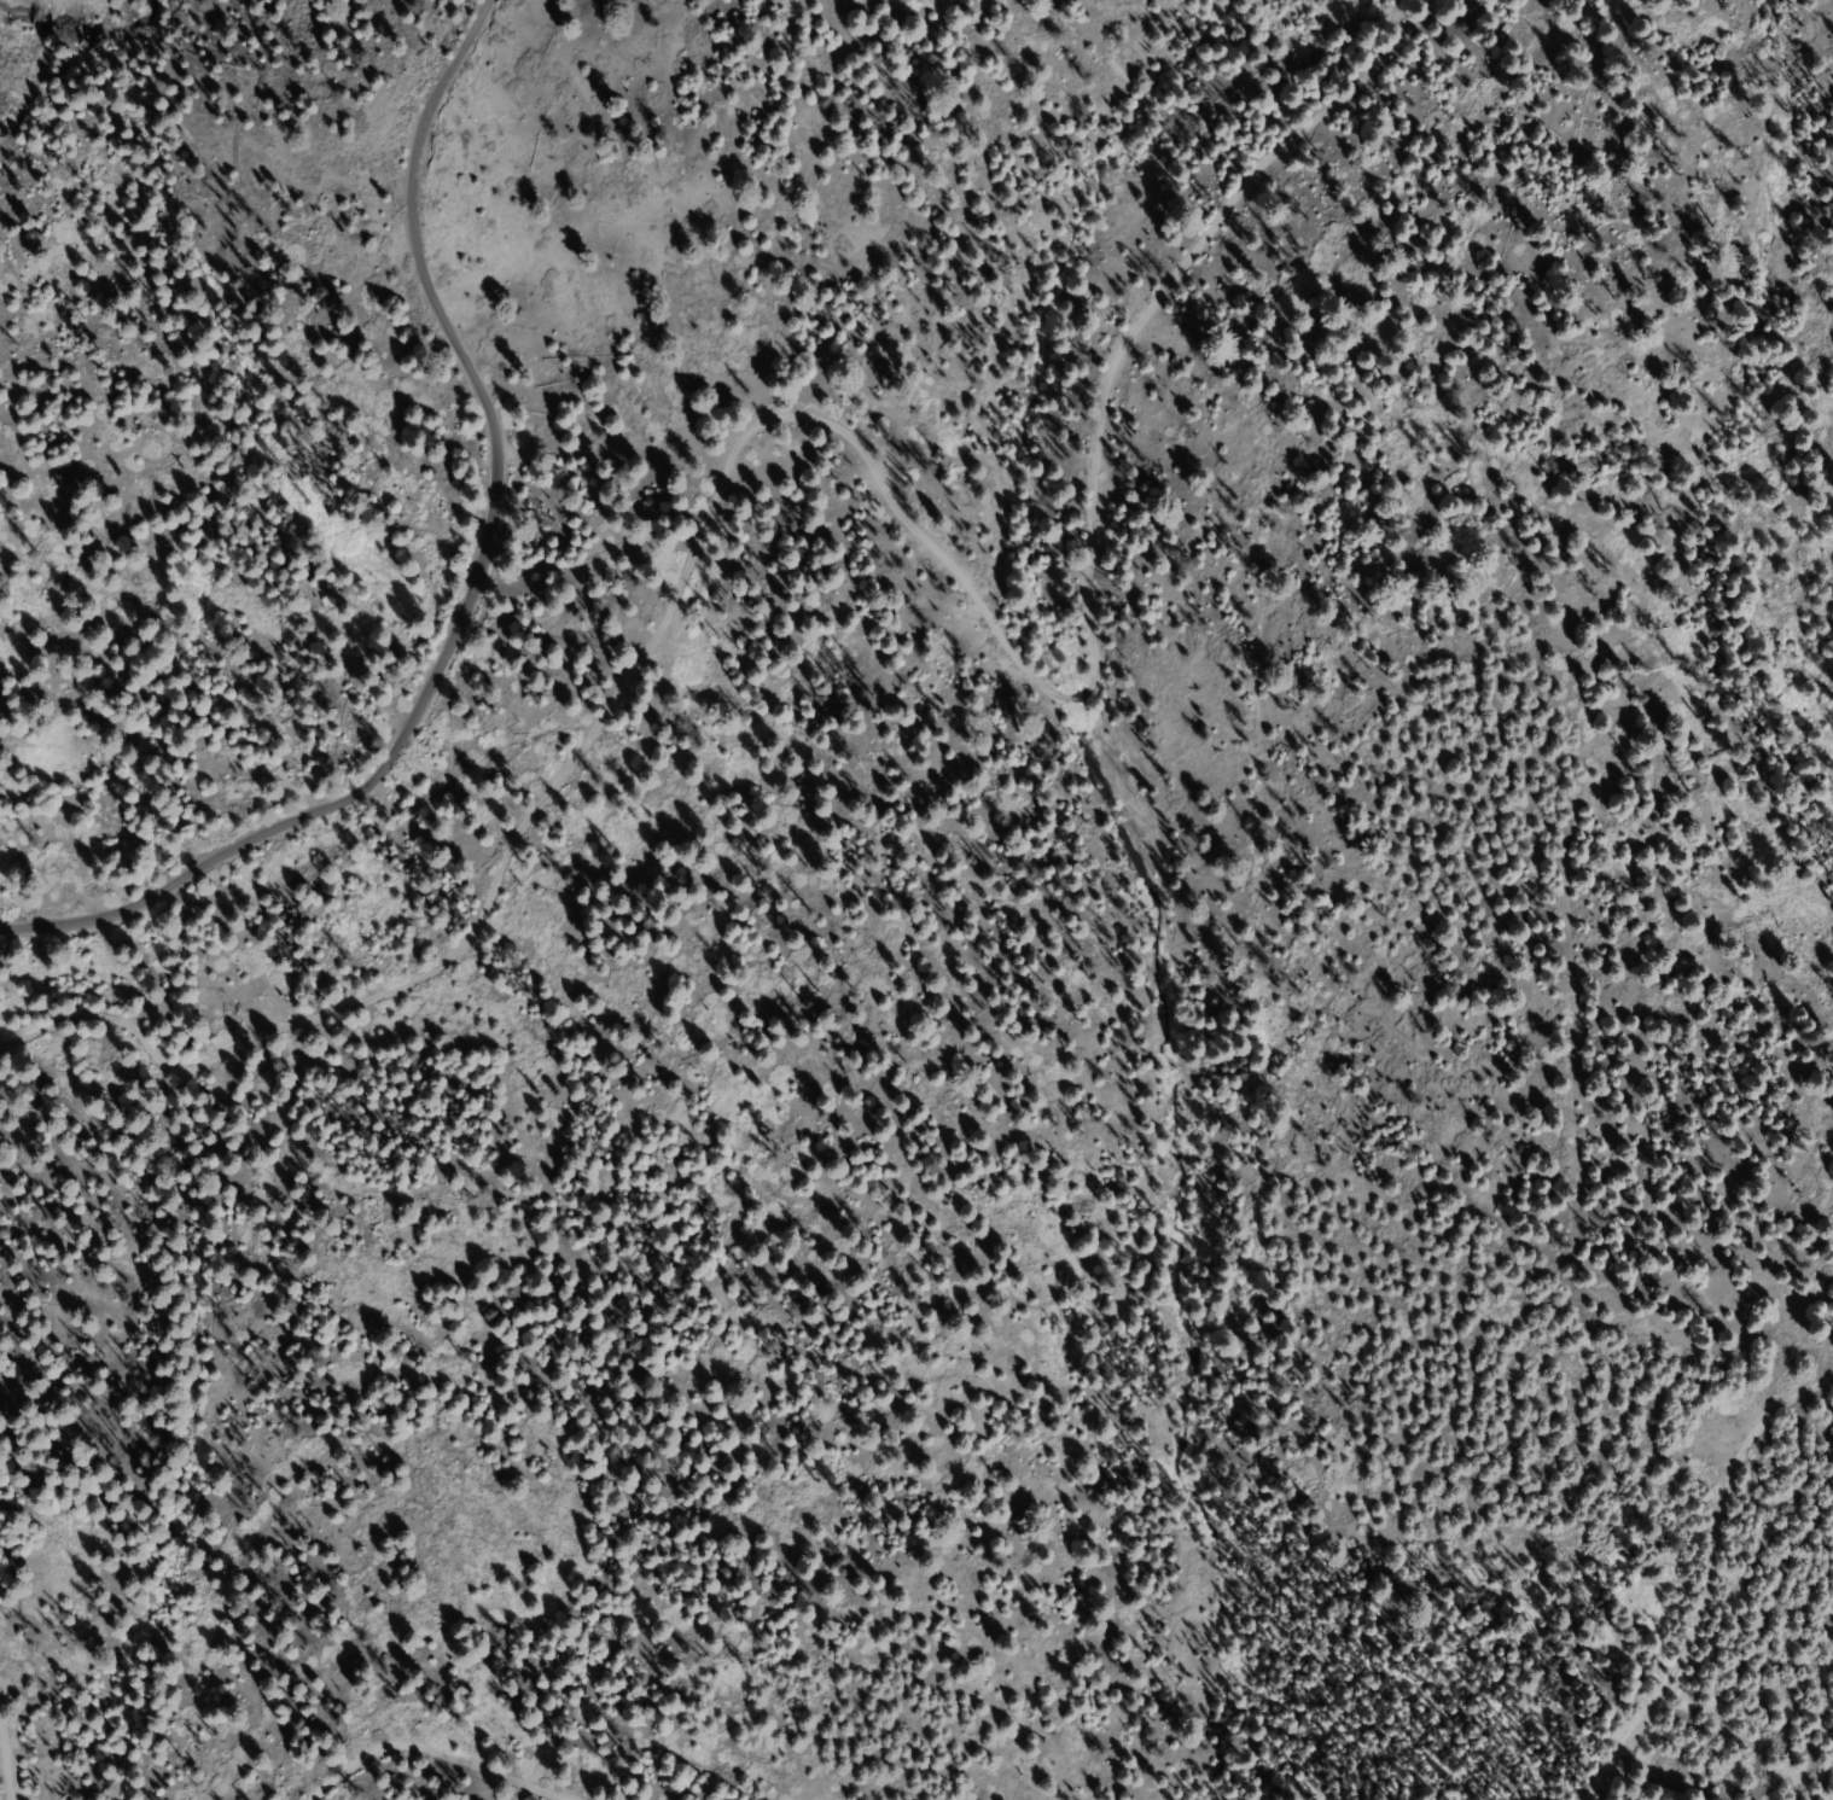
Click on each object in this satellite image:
road: (825, 456)
road: (476, 588)
road: (1698, 1586)
road: (397, 1777)

